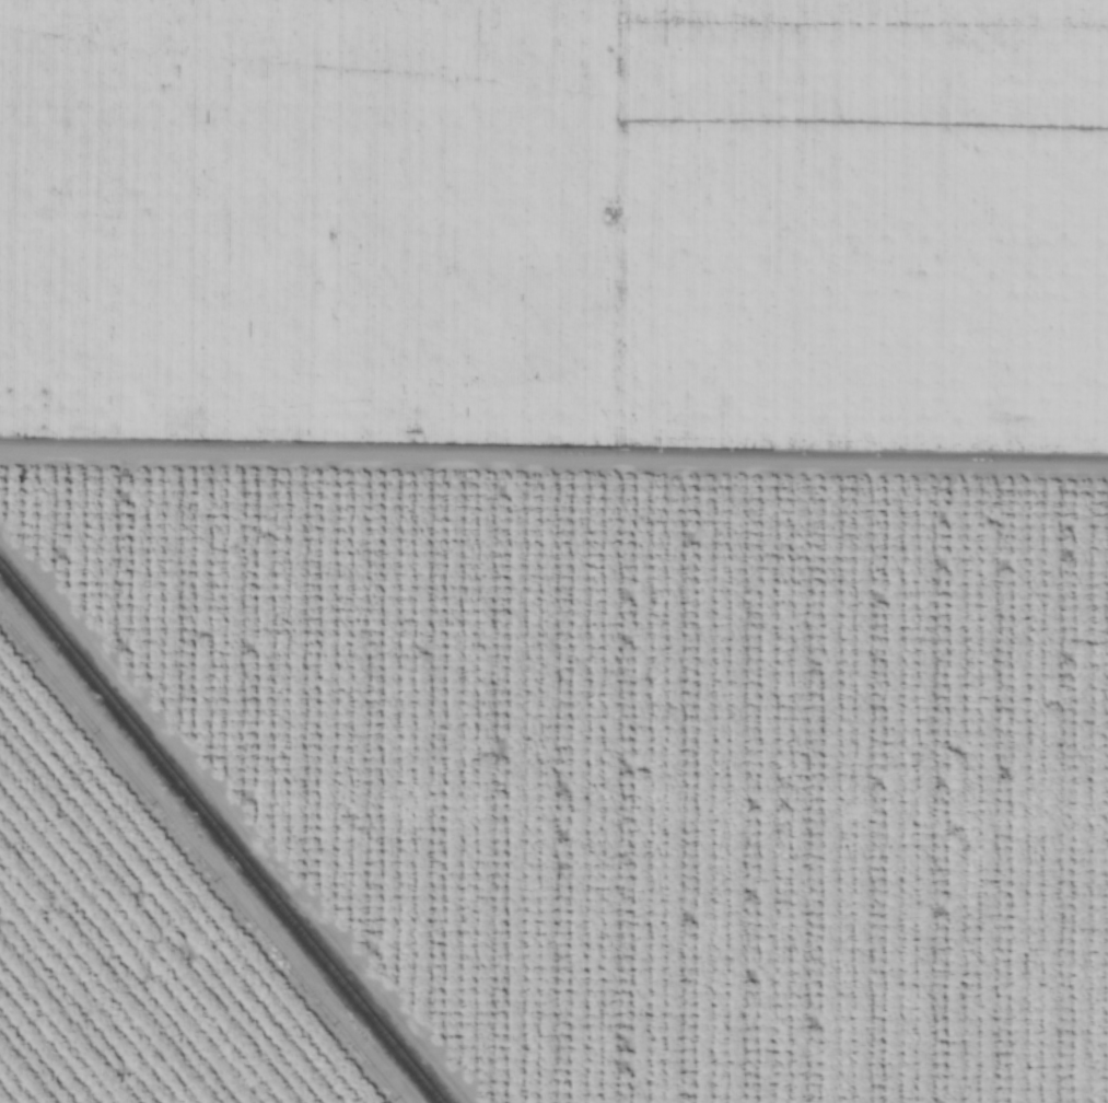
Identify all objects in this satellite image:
railway: (220, 834)

